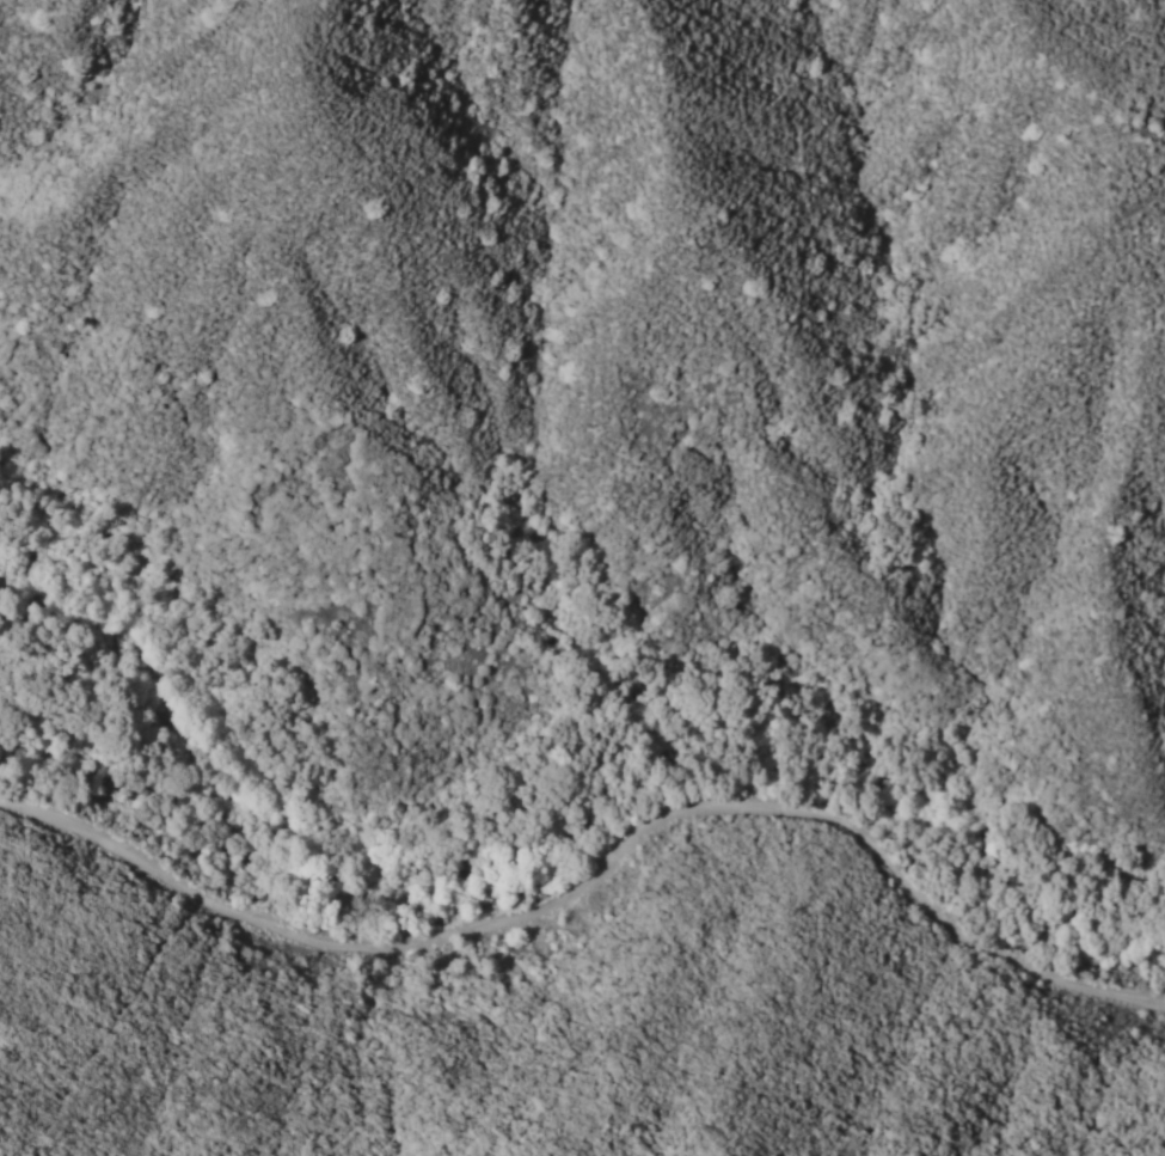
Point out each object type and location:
road: (602, 874)

